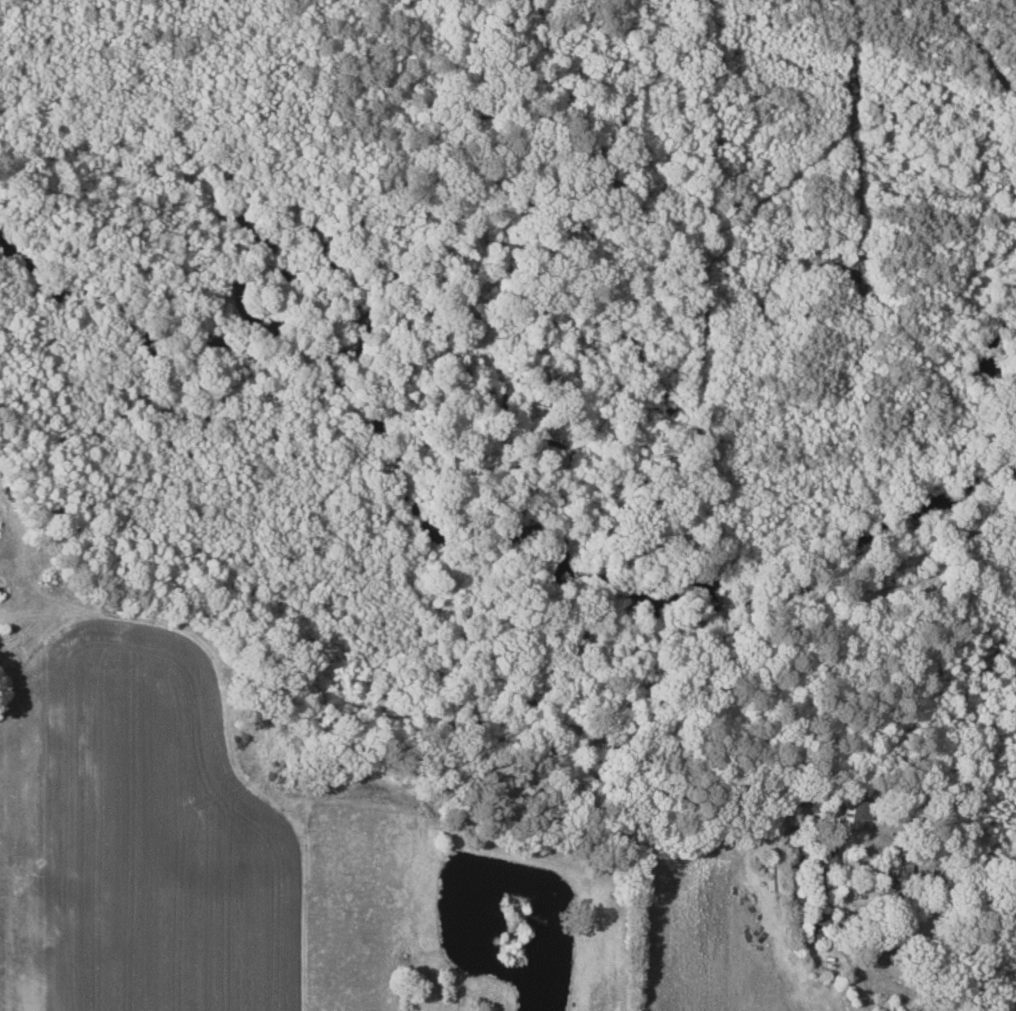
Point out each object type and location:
road: (230, 741)
building: (853, 812)
building: (826, 857)
building: (900, 868)
road: (830, 930)

